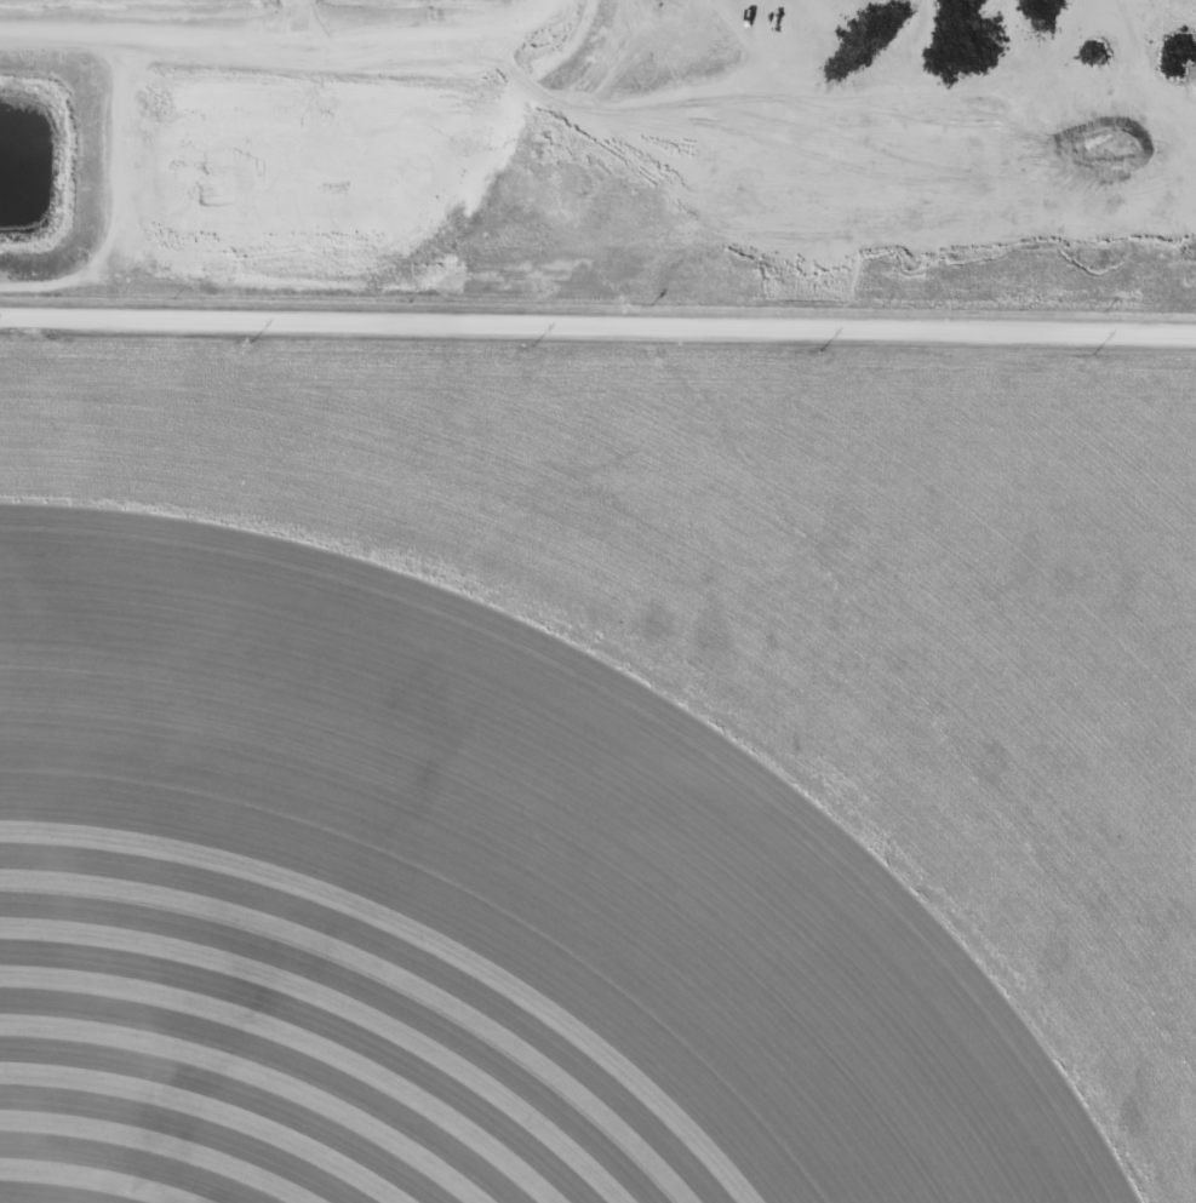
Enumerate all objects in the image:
road: (597, 328)

